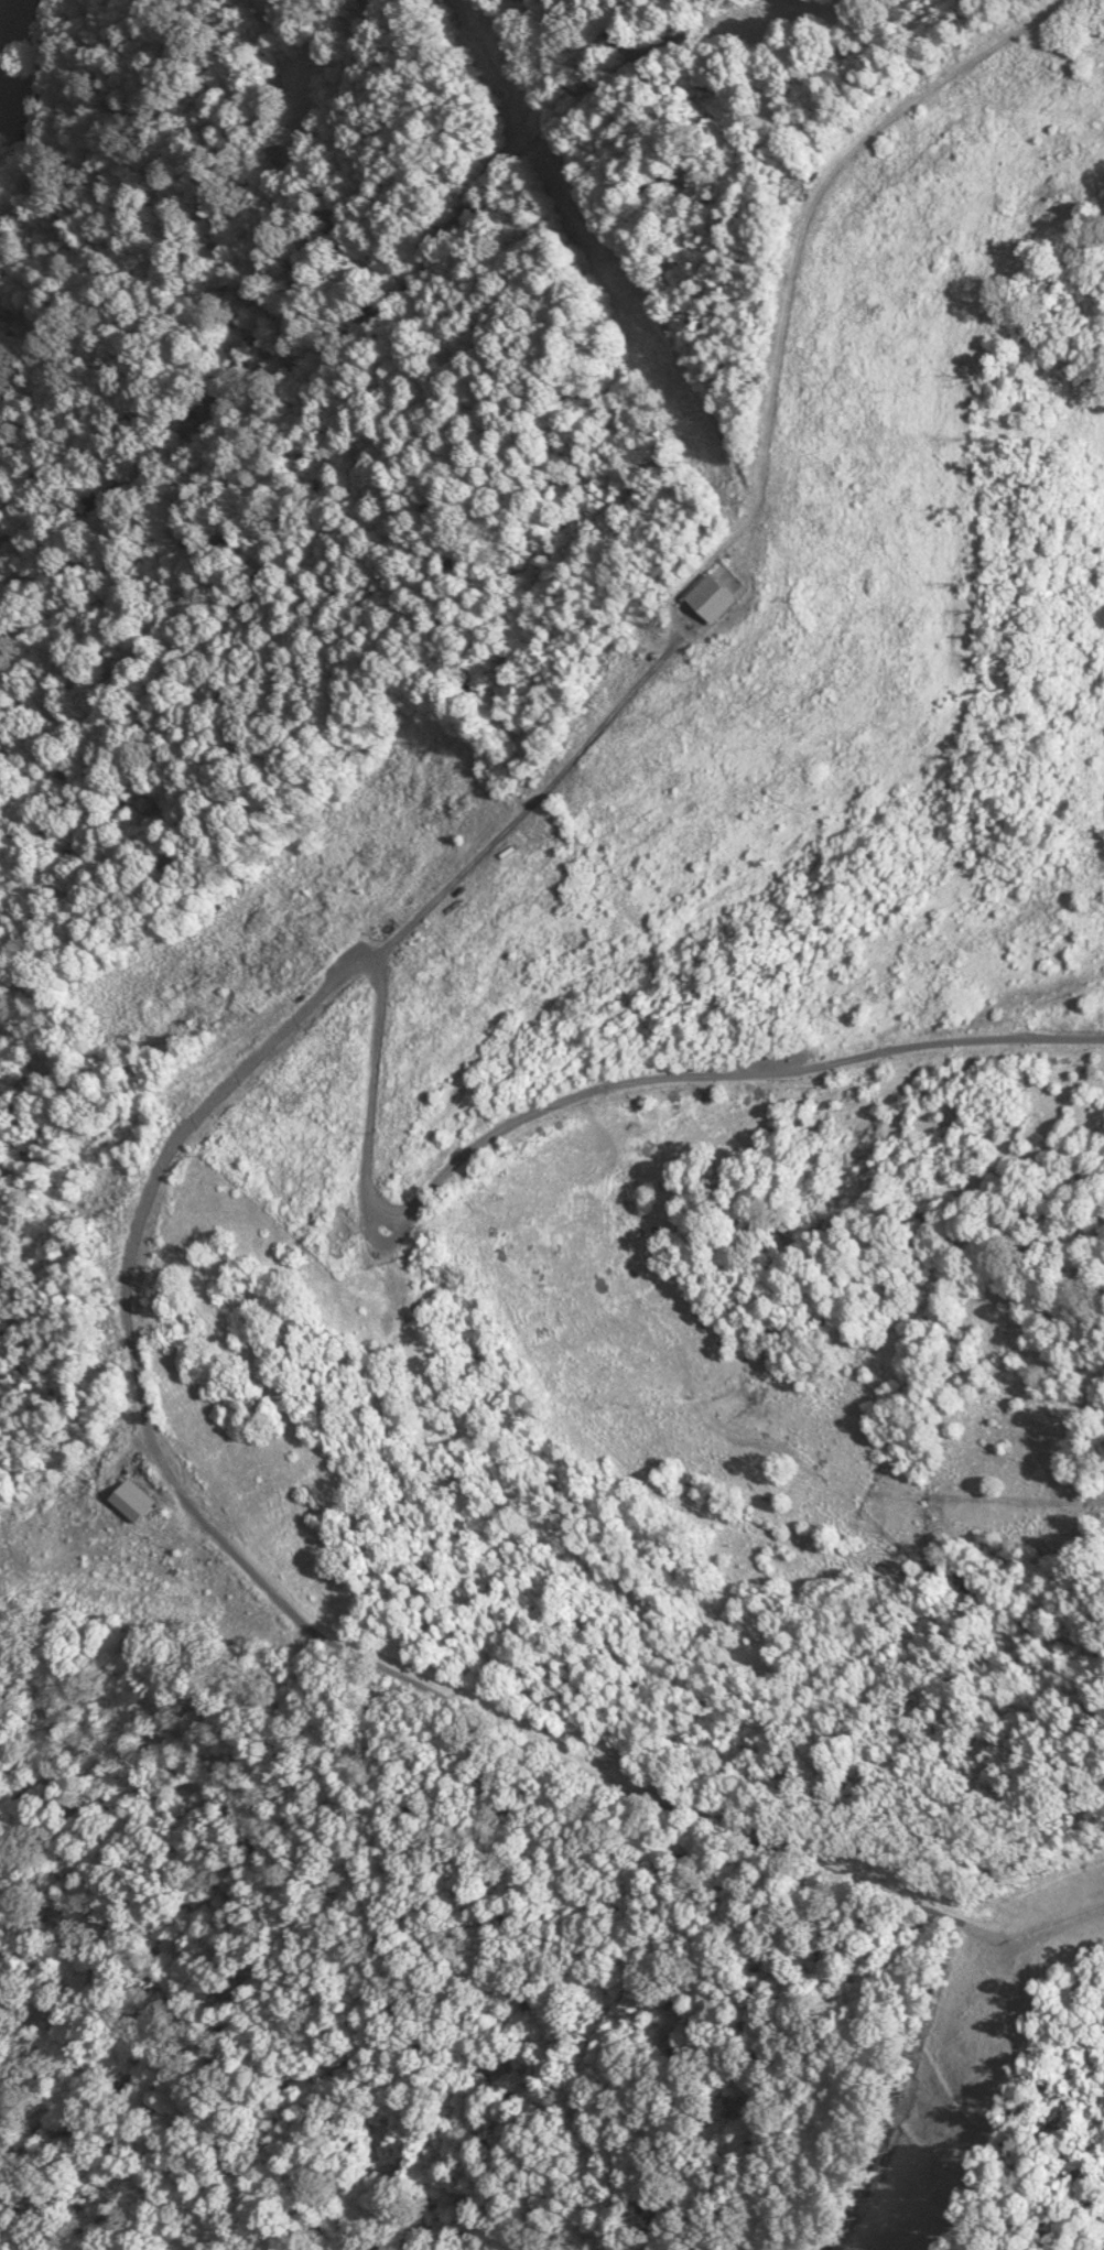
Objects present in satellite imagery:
road: (623, 1059)
road: (932, 1091)

